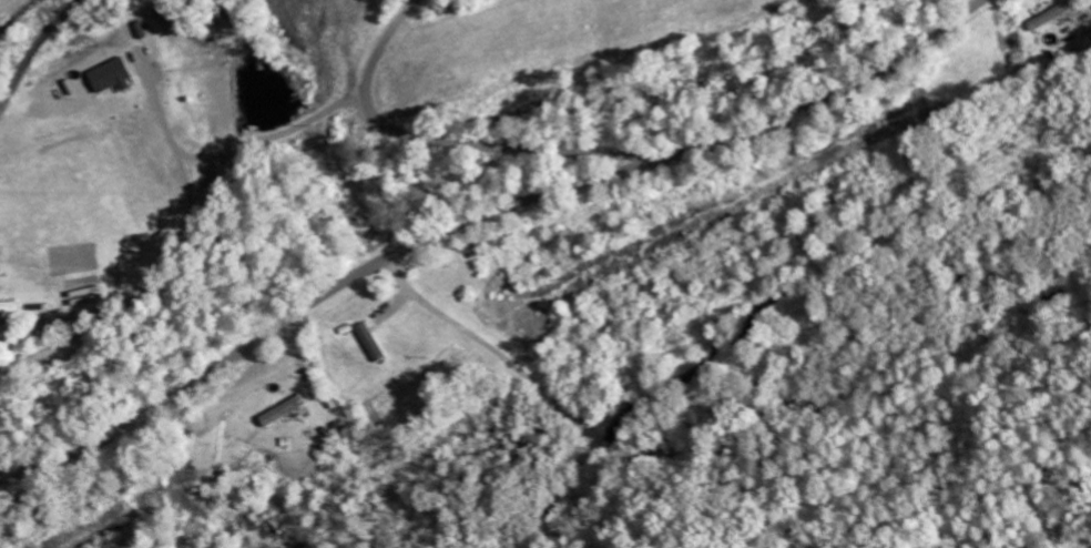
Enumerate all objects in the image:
building: (1053, 16)
building: (114, 74)
road: (473, 217)
building: (11, 307)
building: (374, 342)

